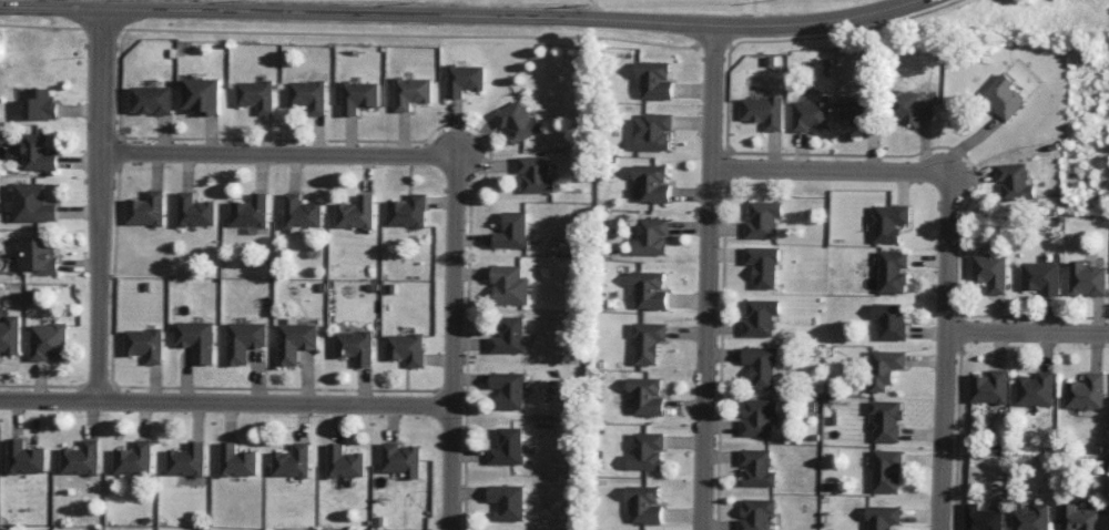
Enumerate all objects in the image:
park: (691, 1)
road: (755, 12)
road: (461, 16)
building: (464, 79)
building: (654, 80)
building: (410, 92)
building: (202, 94)
building: (256, 95)
building: (308, 95)
building: (358, 95)
building: (1003, 96)
building: (151, 100)
building: (40, 103)
building: (910, 106)
building: (762, 111)
building: (811, 113)
building: (858, 115)
building: (517, 121)
building: (651, 131)
building: (38, 153)
road: (277, 153)
road: (828, 170)
building: (535, 174)
building: (1014, 182)
building: (651, 183)
building: (31, 203)
road: (100, 204)
building: (146, 208)
building: (195, 210)
building: (408, 210)
building: (252, 211)
building: (302, 211)
building: (357, 212)
building: (762, 218)
building: (888, 222)
building: (511, 231)
building: (651, 236)
building: (39, 254)
building: (762, 266)
building: (893, 272)
building: (989, 272)
road: (708, 277)
building: (1040, 277)
building: (1086, 278)
building: (509, 285)
building: (649, 289)
building: (760, 317)
building: (889, 320)
road: (1027, 330)
building: (9, 335)
building: (510, 336)
building: (196, 339)
building: (244, 340)
building: (48, 342)
building: (295, 342)
road: (450, 342)
building: (648, 342)
building: (144, 344)
building: (355, 346)
building: (405, 348)
road: (944, 350)
building: (760, 366)
building: (884, 368)
building: (988, 387)
building: (508, 389)
building: (1035, 389)
building: (1085, 391)
building: (647, 395)
road: (224, 402)
building: (757, 417)
building: (886, 420)
building: (507, 447)
building: (645, 451)
building: (24, 457)
building: (81, 458)
building: (133, 459)
building: (186, 459)
building: (401, 459)
building: (237, 460)
building: (292, 461)
building: (344, 461)
building: (756, 468)
building: (886, 470)
building: (507, 501)
building: (643, 503)
building: (755, 513)
building: (883, 517)
building: (981, 518)
building: (1031, 518)
building: (1078, 518)

